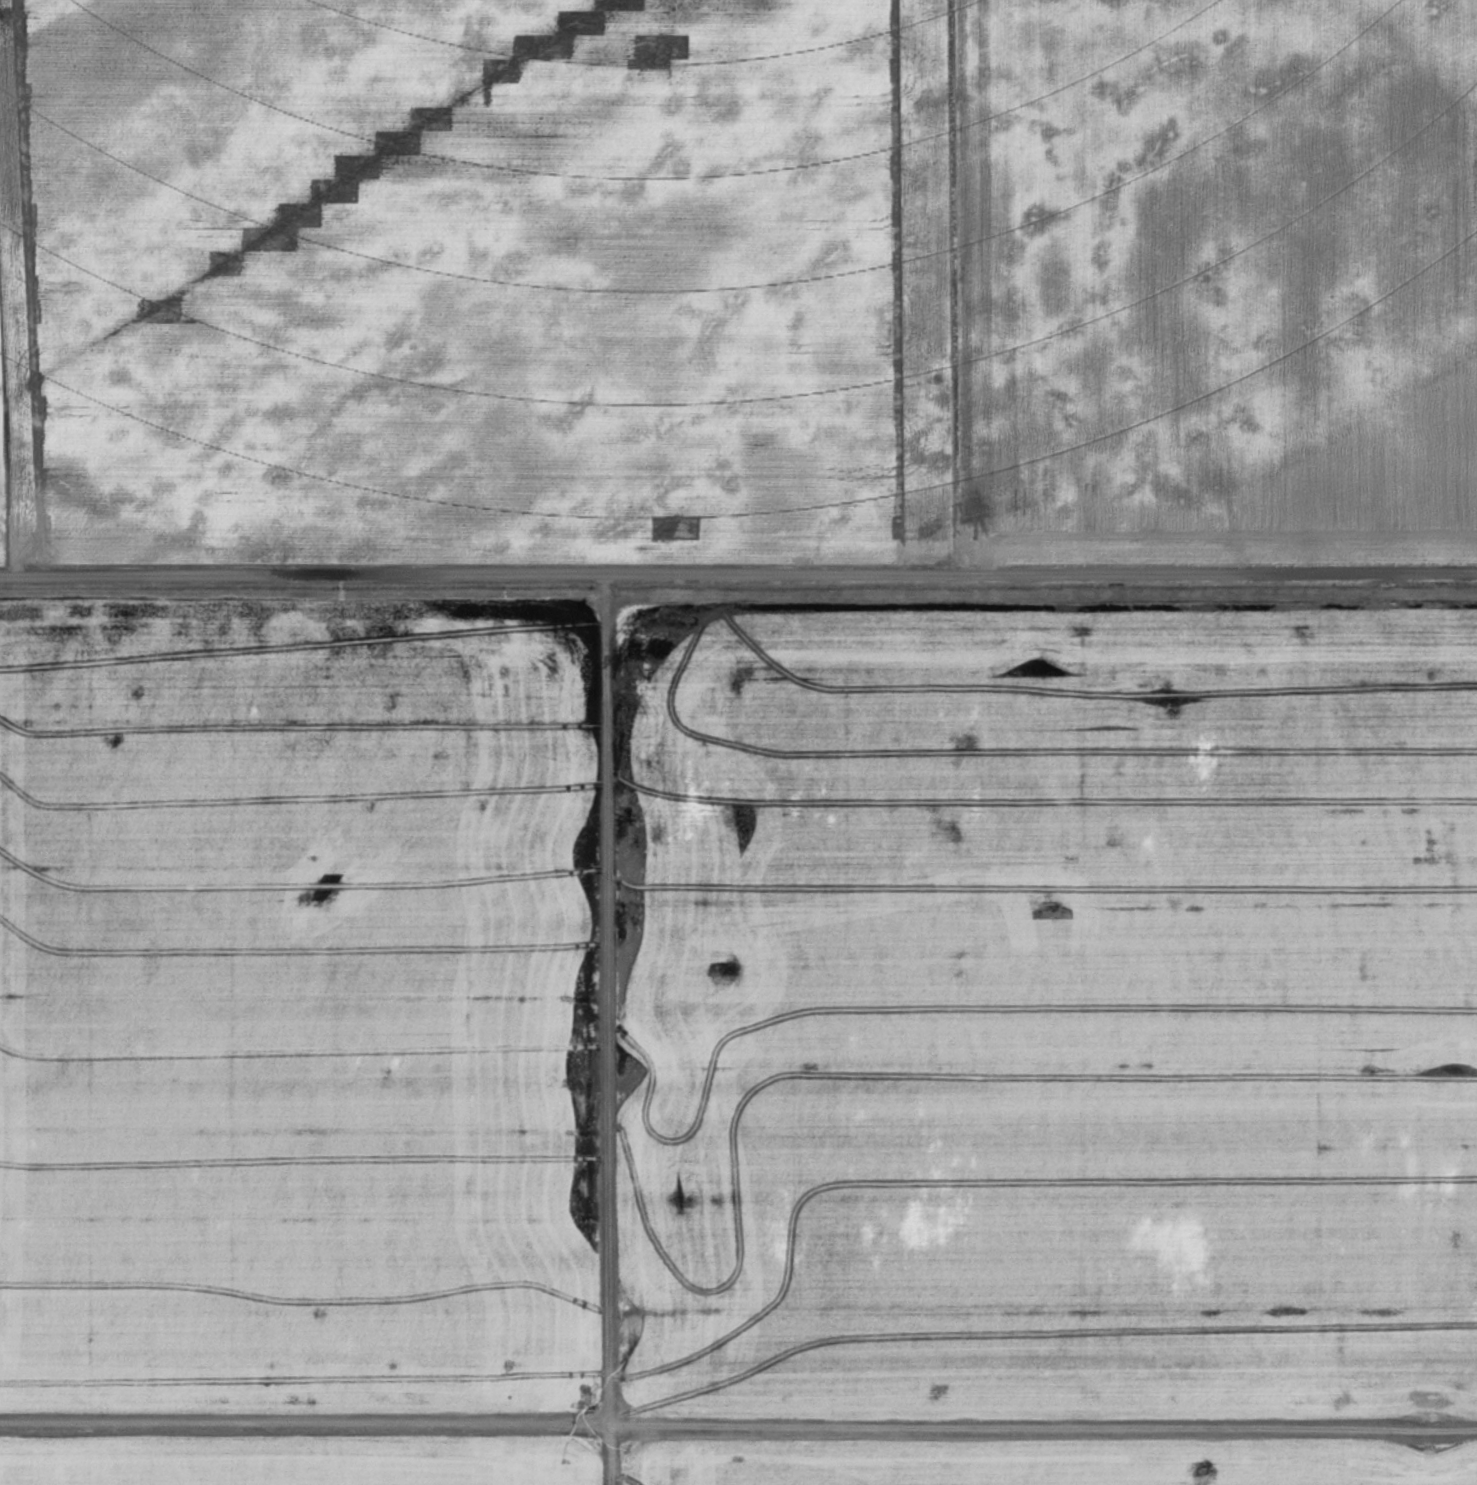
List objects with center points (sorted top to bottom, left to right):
road: (346, 596)

